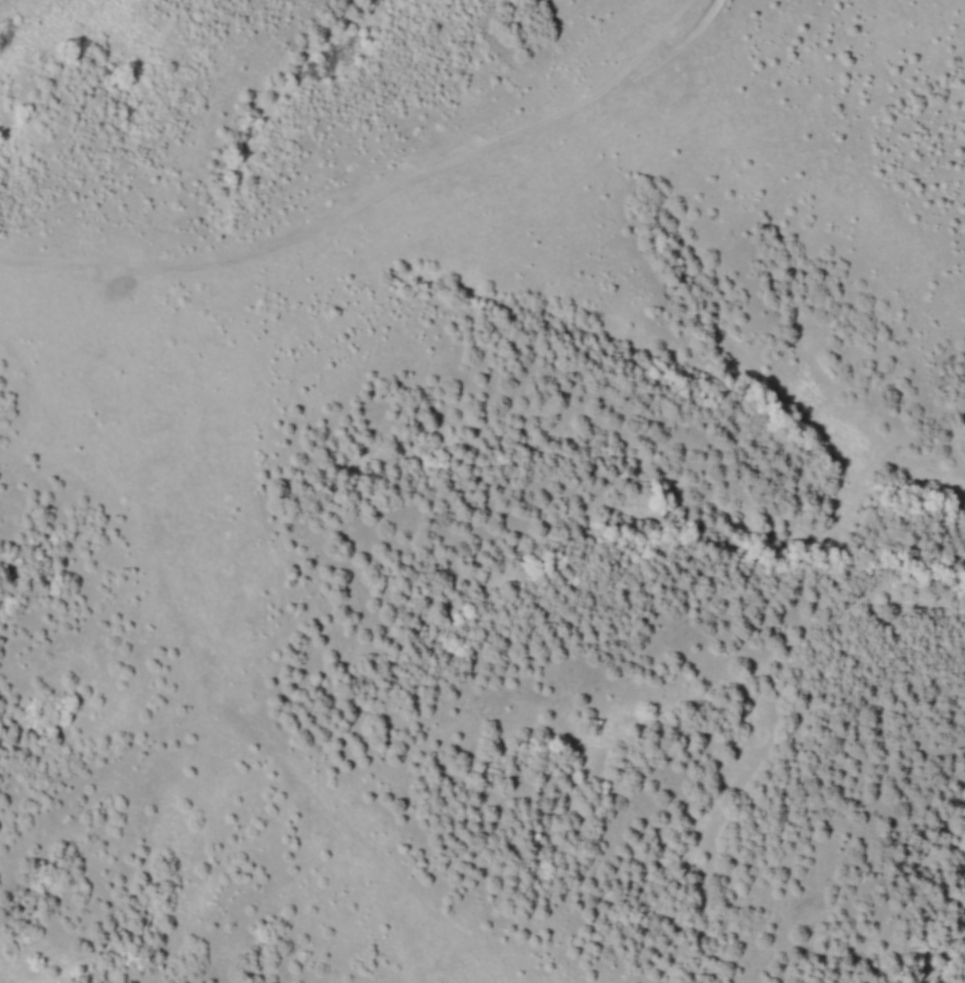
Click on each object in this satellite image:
road: (377, 192)

